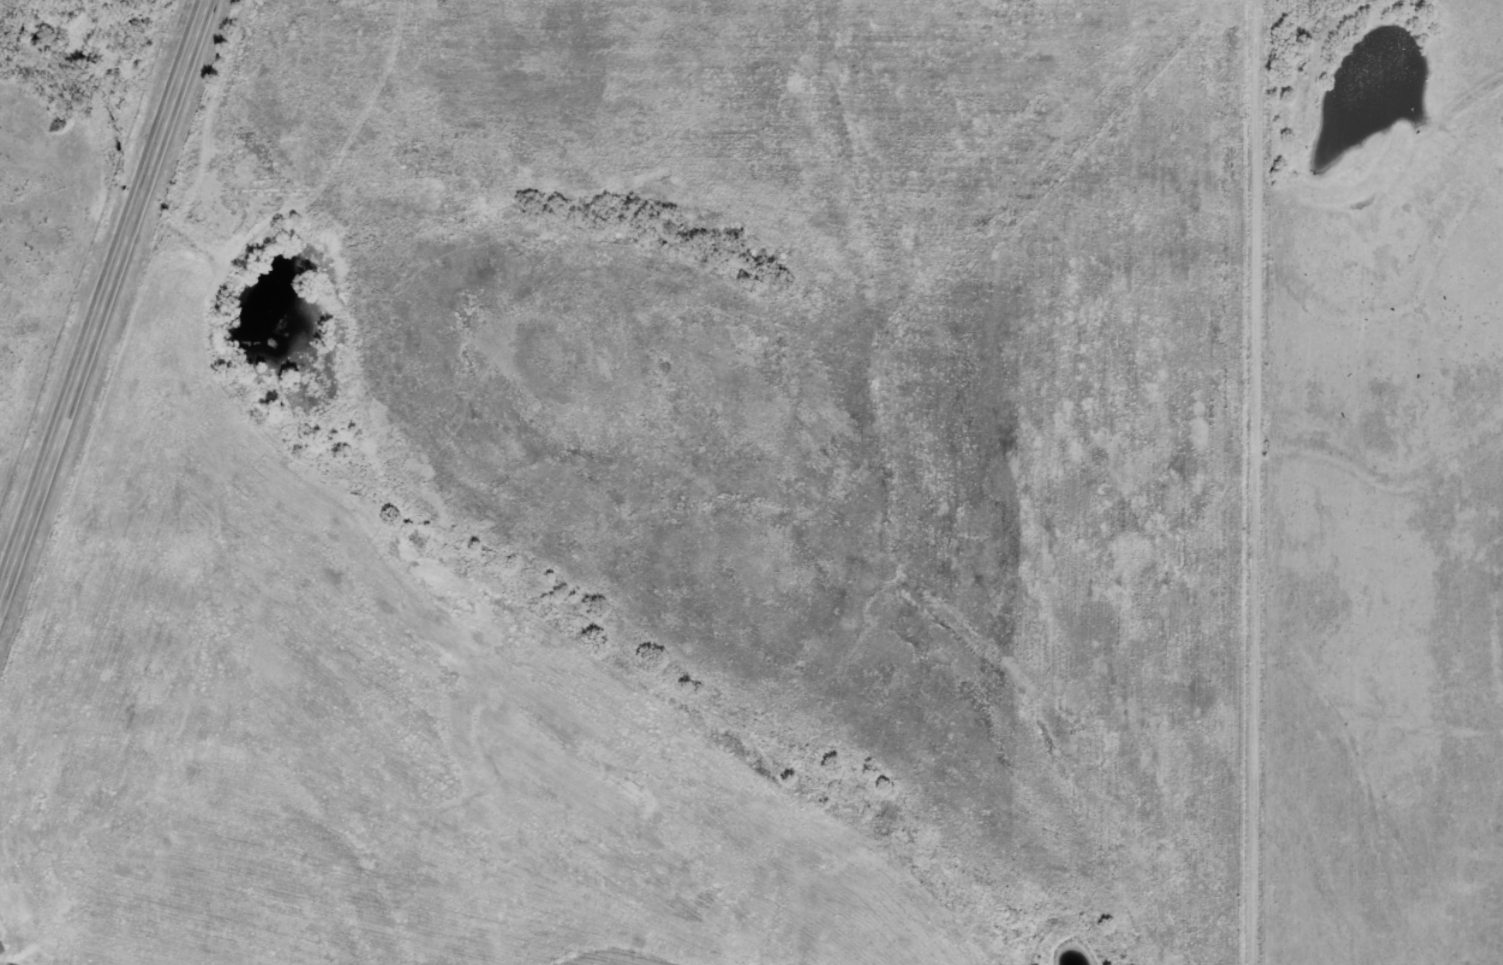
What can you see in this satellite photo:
road: (1245, 34)
road: (107, 311)
road: (1256, 482)

